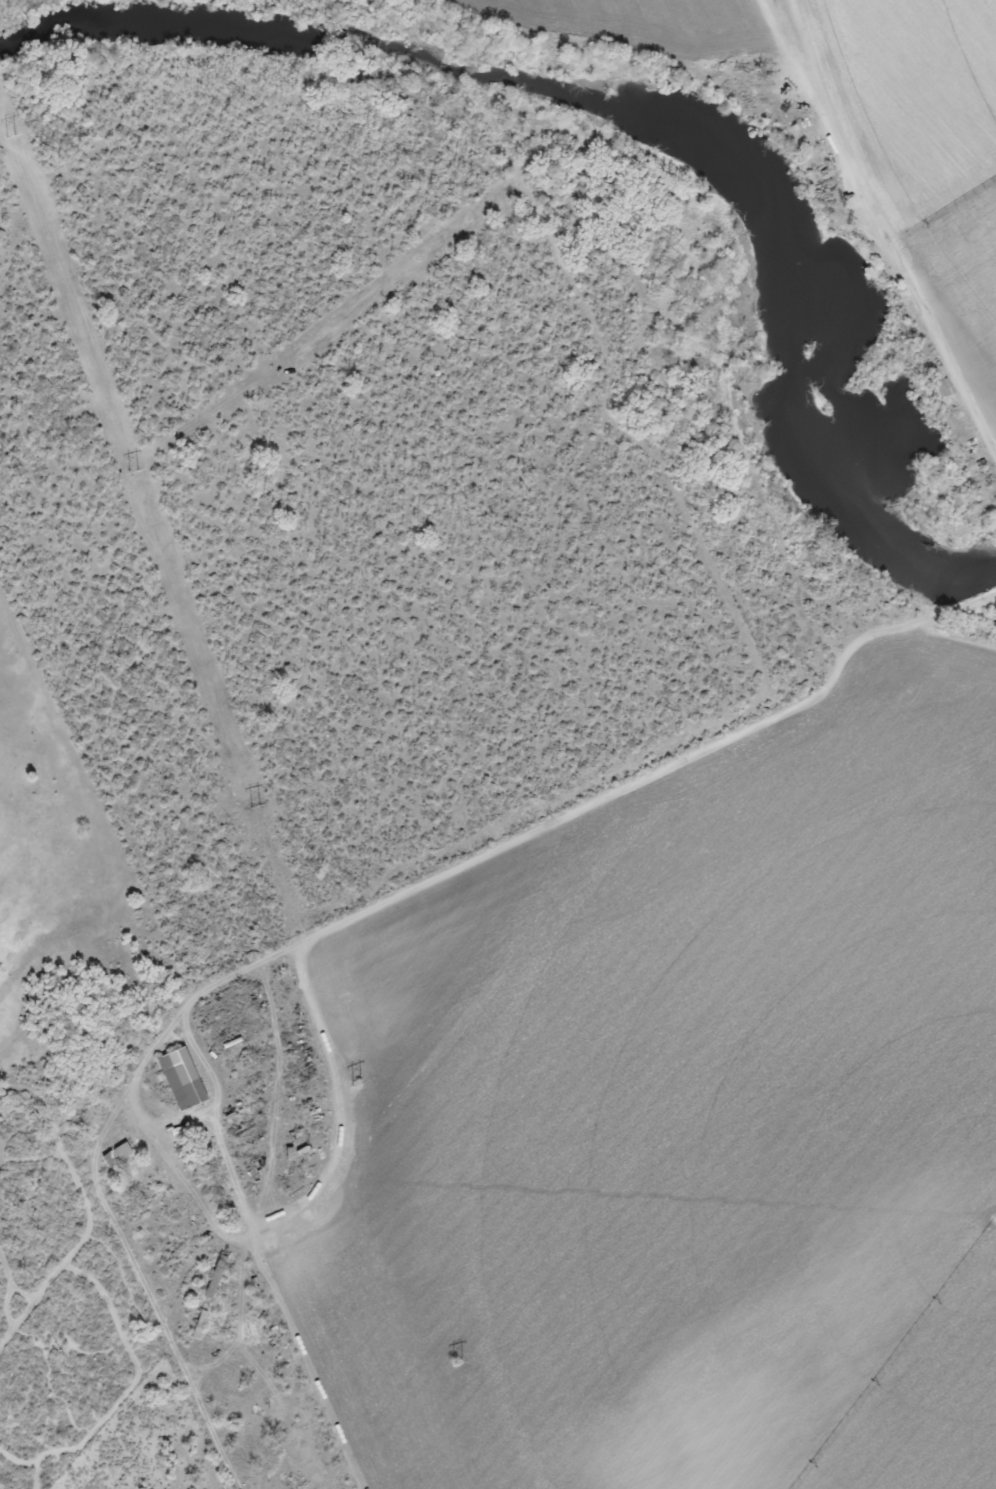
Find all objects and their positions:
power tower: (11, 137)
power tower: (133, 472)
power tower: (254, 807)
building: (180, 1080)
power tower: (356, 1084)
building: (115, 1156)
building: (135, 1180)
building: (211, 1284)
building: (197, 1326)
power tower: (455, 1362)
building: (292, 1386)
building: (244, 1439)

